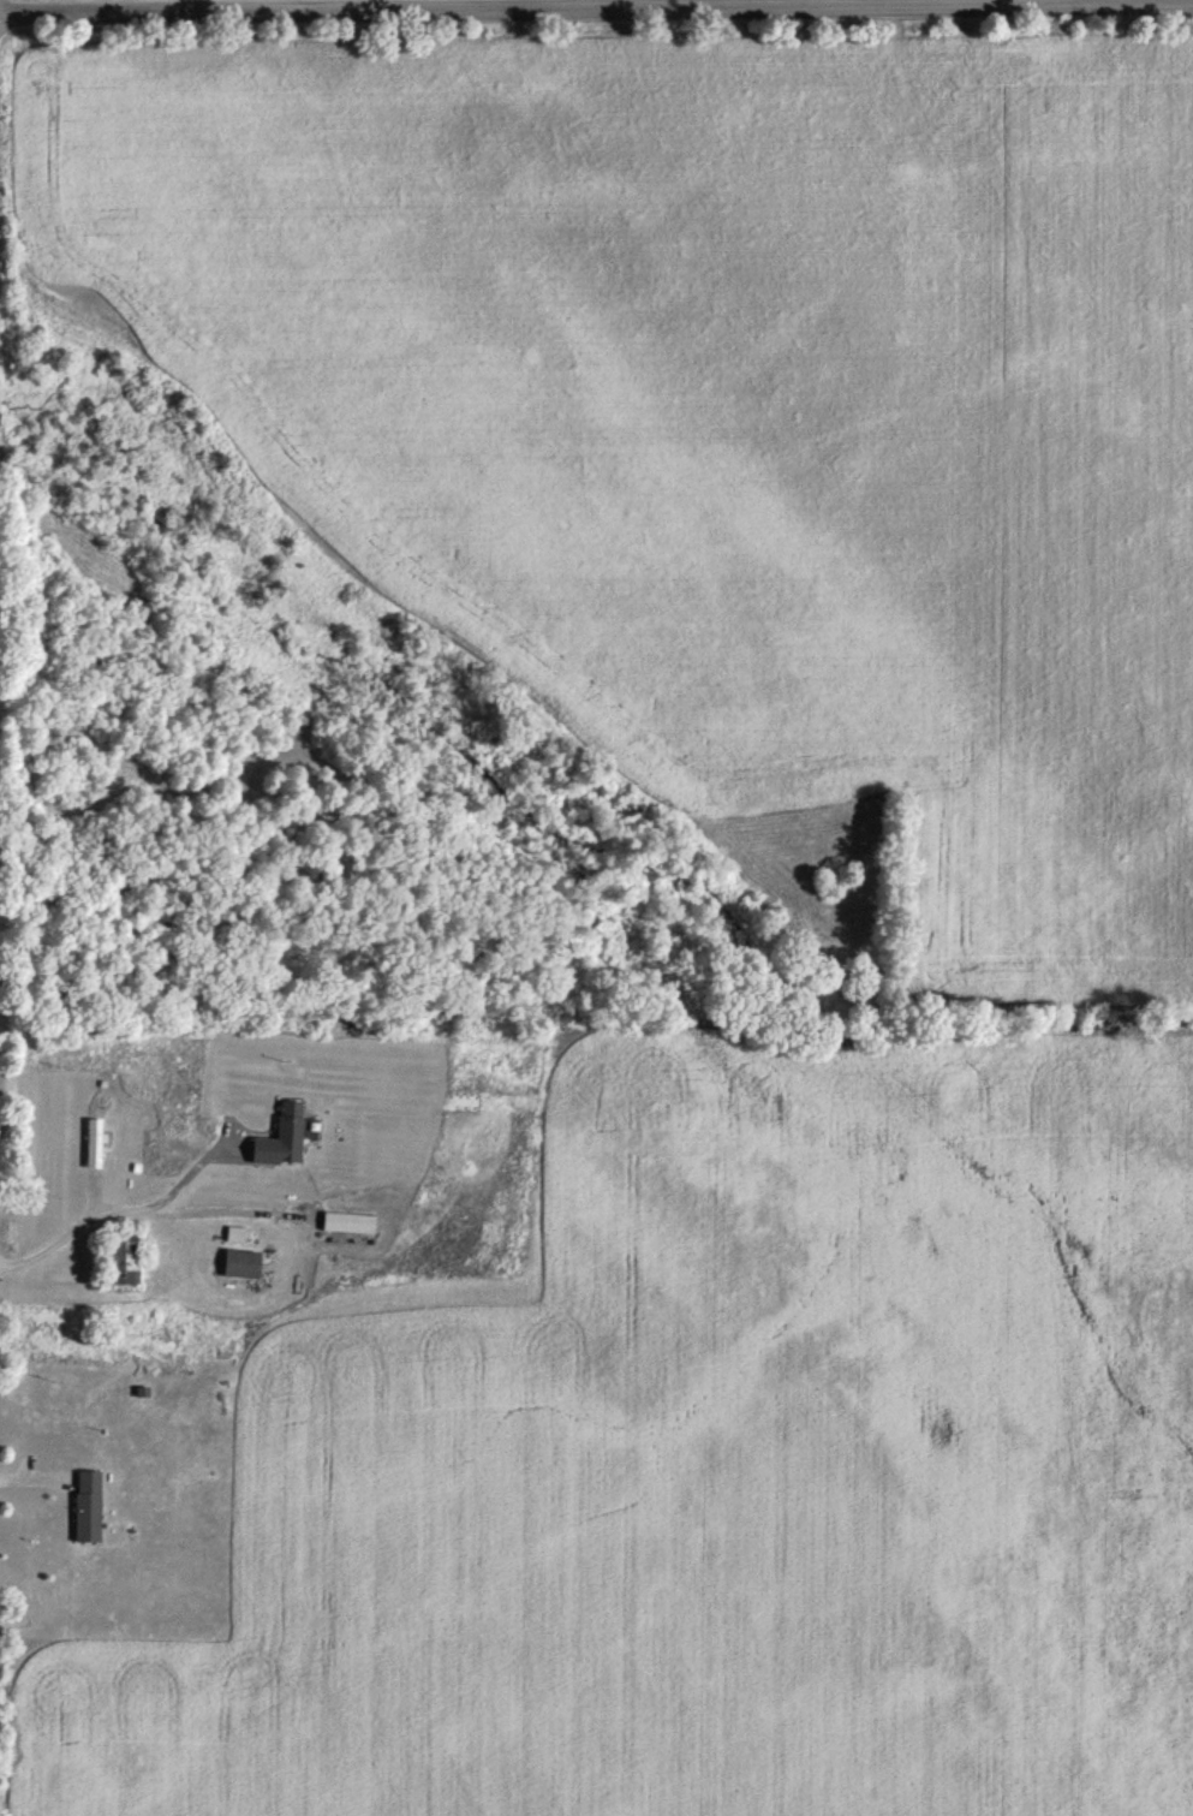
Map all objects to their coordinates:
road: (596, 7)
building: (280, 1142)
building: (90, 1148)
road: (196, 1171)
road: (143, 1221)
building: (353, 1228)
building: (117, 1267)
building: (239, 1269)
building: (85, 1512)

